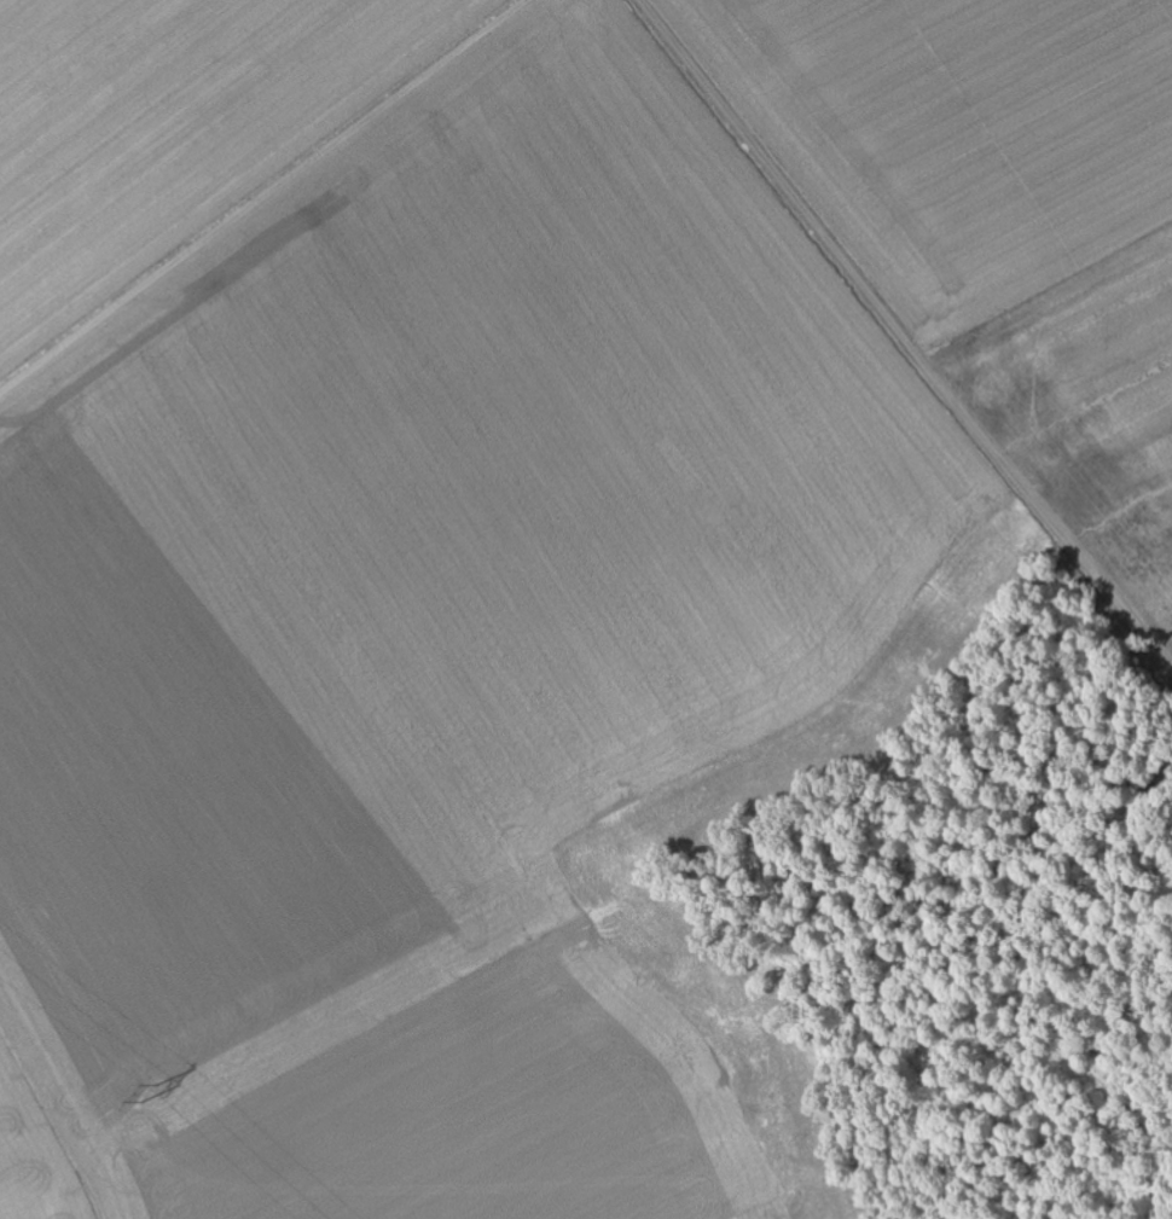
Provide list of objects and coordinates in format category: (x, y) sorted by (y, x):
road: (904, 335)
power tower: (147, 1093)

